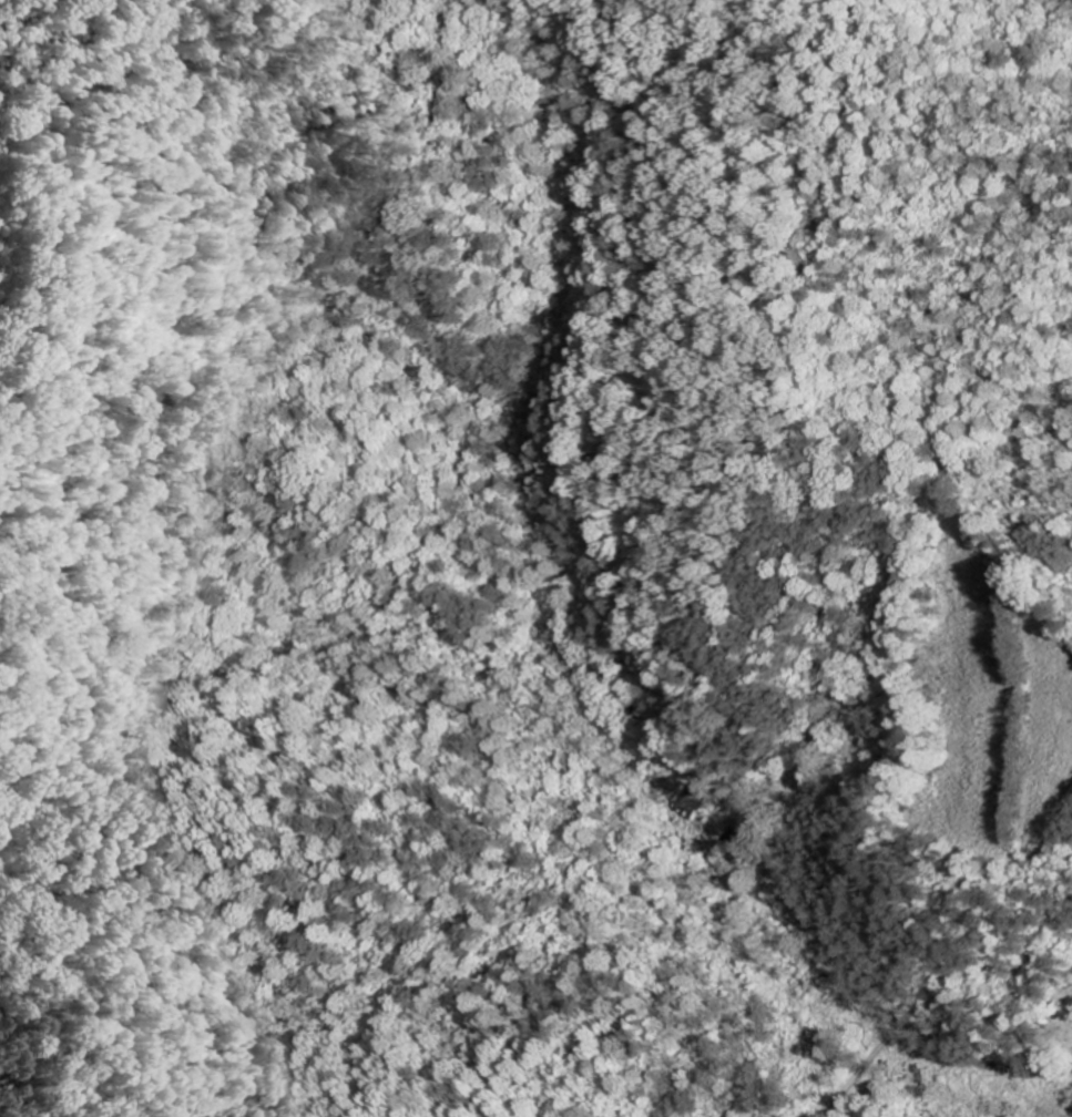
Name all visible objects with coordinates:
road: (900, 1018)

